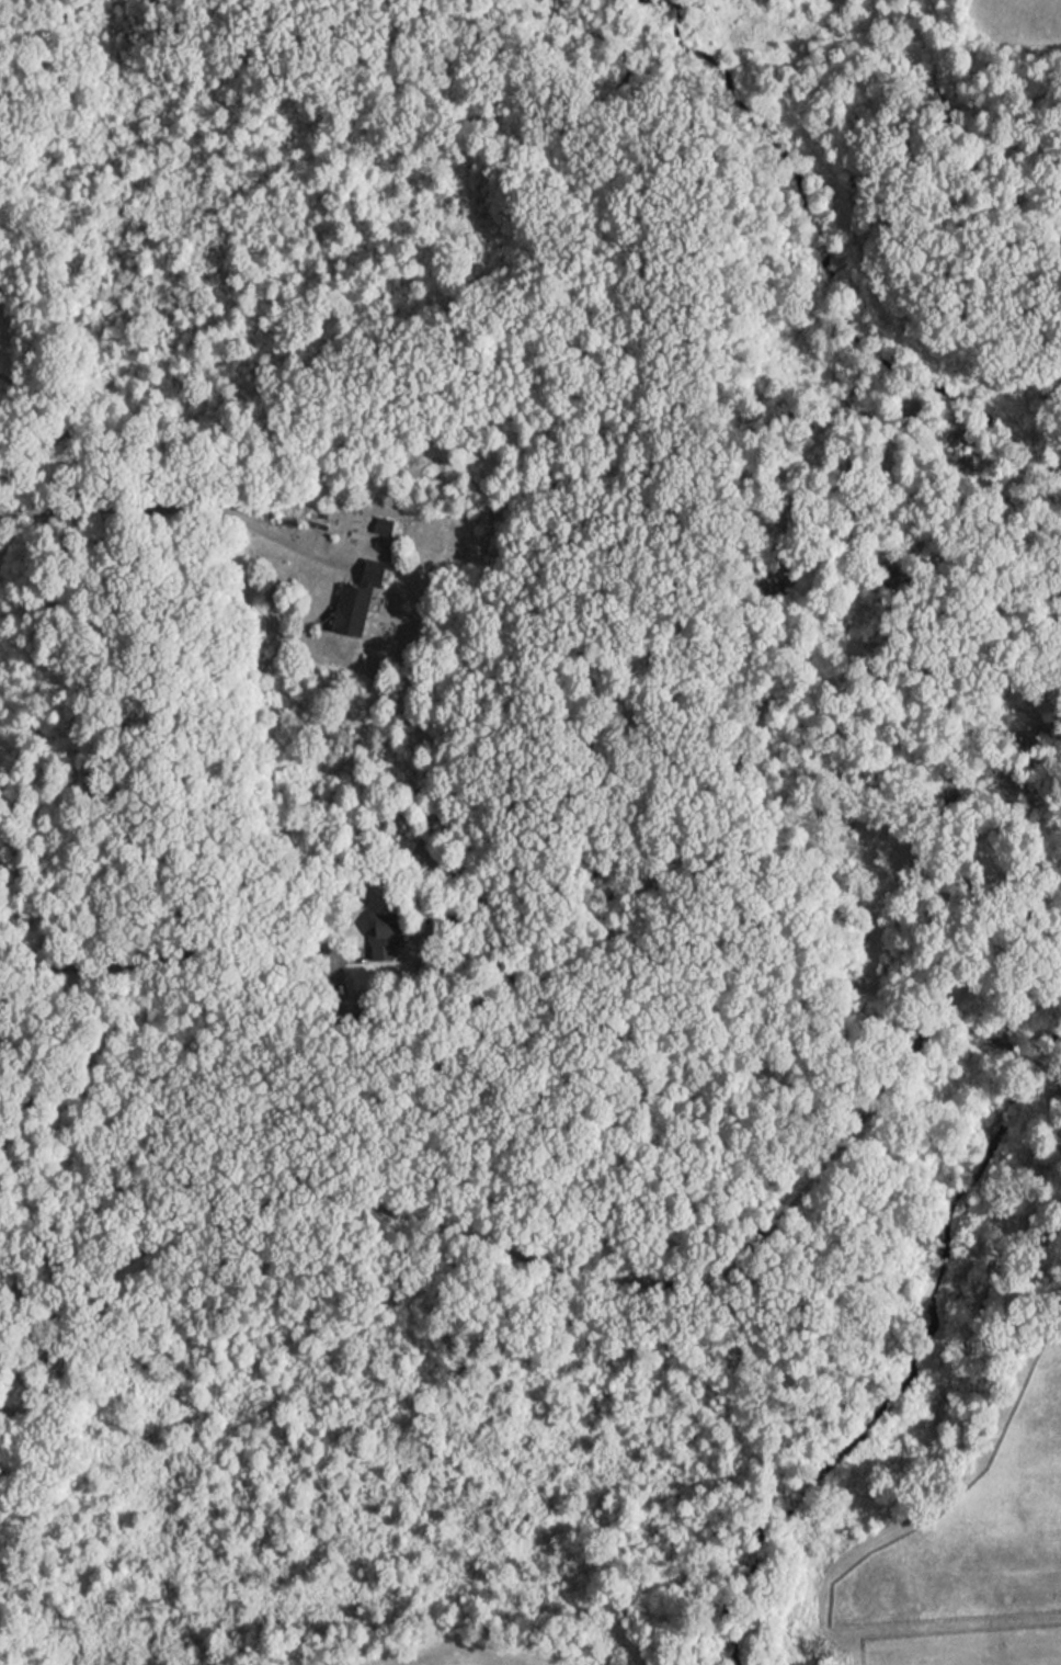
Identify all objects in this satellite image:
road: (167, 490)
building: (362, 599)
road: (157, 959)

